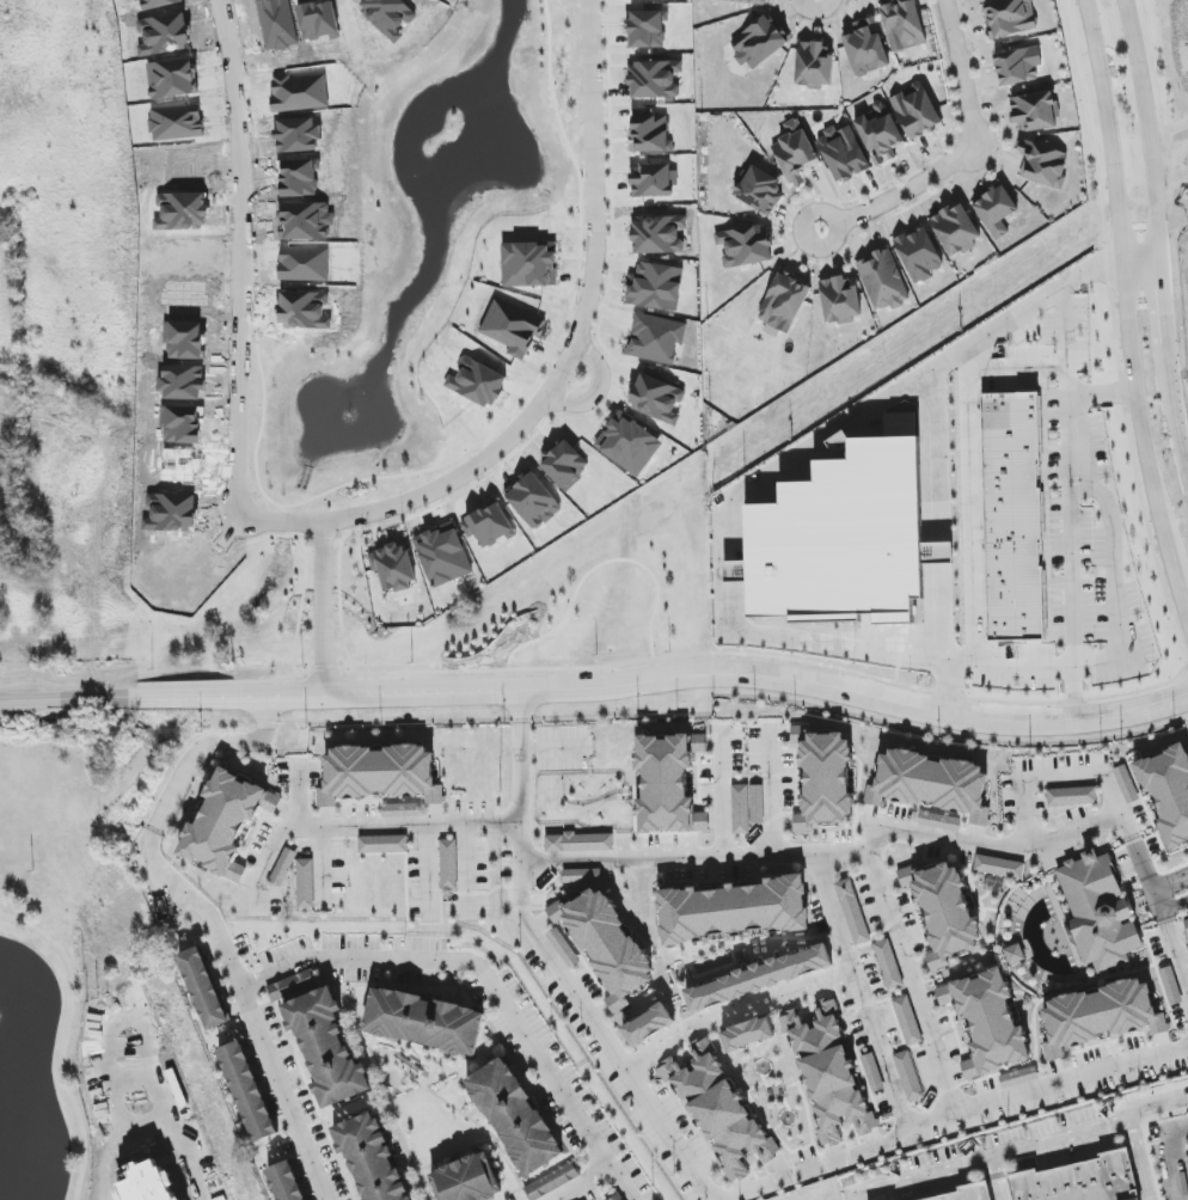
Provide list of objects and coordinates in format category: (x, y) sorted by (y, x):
building: (746, 1)
road: (816, 8)
building: (1010, 17)
building: (904, 25)
building: (759, 43)
building: (866, 48)
park: (1166, 53)
building: (814, 66)
building: (1018, 66)
road: (961, 75)
building: (655, 79)
road: (1156, 80)
building: (916, 111)
building: (1034, 111)
road: (1176, 124)
road: (1147, 130)
building: (651, 134)
building: (880, 134)
building: (843, 153)
building: (795, 157)
building: (1043, 164)
building: (654, 180)
building: (759, 190)
road: (907, 190)
building: (996, 210)
road: (831, 216)
building: (956, 229)
building: (659, 234)
building: (746, 246)
building: (919, 255)
building: (529, 264)
road: (1141, 265)
road: (1125, 278)
building: (882, 281)
building: (655, 287)
building: (840, 300)
road: (243, 301)
building: (784, 302)
road: (1166, 323)
building: (513, 327)
road: (580, 333)
building: (656, 338)
road: (598, 391)
road: (1098, 391)
building: (657, 399)
road: (1180, 424)
building: (629, 445)
road: (967, 506)
building: (1017, 512)
building: (847, 537)
building: (937, 553)
building: (442, 556)
building: (393, 567)
road: (1180, 583)
road: (324, 608)
road: (561, 623)
road: (789, 638)
road: (801, 661)
road: (735, 669)
road: (947, 687)
road: (1070, 693)
road: (263, 697)
road: (100, 699)
road: (1164, 702)
building: (379, 772)
road: (1091, 776)
building: (826, 778)
building: (929, 780)
building: (666, 784)
building: (1126, 784)
building: (1168, 792)
building: (1072, 796)
road: (722, 801)
road: (768, 802)
building: (757, 804)
building: (402, 809)
building: (740, 810)
building: (939, 821)
building: (225, 822)
road: (153, 825)
road: (359, 825)
building: (578, 843)
building: (382, 845)
road: (999, 849)
road: (693, 859)
road: (323, 863)
building: (448, 863)
road: (466, 865)
building: (282, 867)
building: (1000, 867)
road: (430, 868)
building: (581, 876)
building: (305, 884)
road: (1170, 886)
road: (1157, 900)
road: (1174, 904)
building: (734, 911)
building: (945, 911)
building: (851, 912)
building: (1098, 913)
building: (1186, 924)
building: (608, 944)
building: (563, 948)
road: (1174, 948)
building: (1016, 954)
road: (361, 959)
building: (887, 965)
road: (556, 967)
road: (905, 973)
building: (759, 978)
building: (292, 986)
building: (1170, 986)
building: (202, 988)
road: (861, 997)
road: (731, 1010)
building: (1101, 1014)
building: (424, 1021)
building: (907, 1021)
building: (991, 1021)
building: (648, 1024)
building: (749, 1035)
road: (69, 1041)
building: (326, 1048)
building: (872, 1072)
building: (908, 1077)
building: (1019, 1078)
building: (833, 1079)
building: (247, 1092)
building: (718, 1110)
road: (954, 1114)
building: (514, 1115)
road: (1021, 1145)
road: (1177, 1151)
road: (1138, 1158)
building: (369, 1159)
road: (600, 1171)
building: (469, 1180)
building: (1080, 1180)
building: (286, 1182)
building: (552, 1182)
building: (961, 1193)
road: (853, 1195)
building: (619, 1198)

